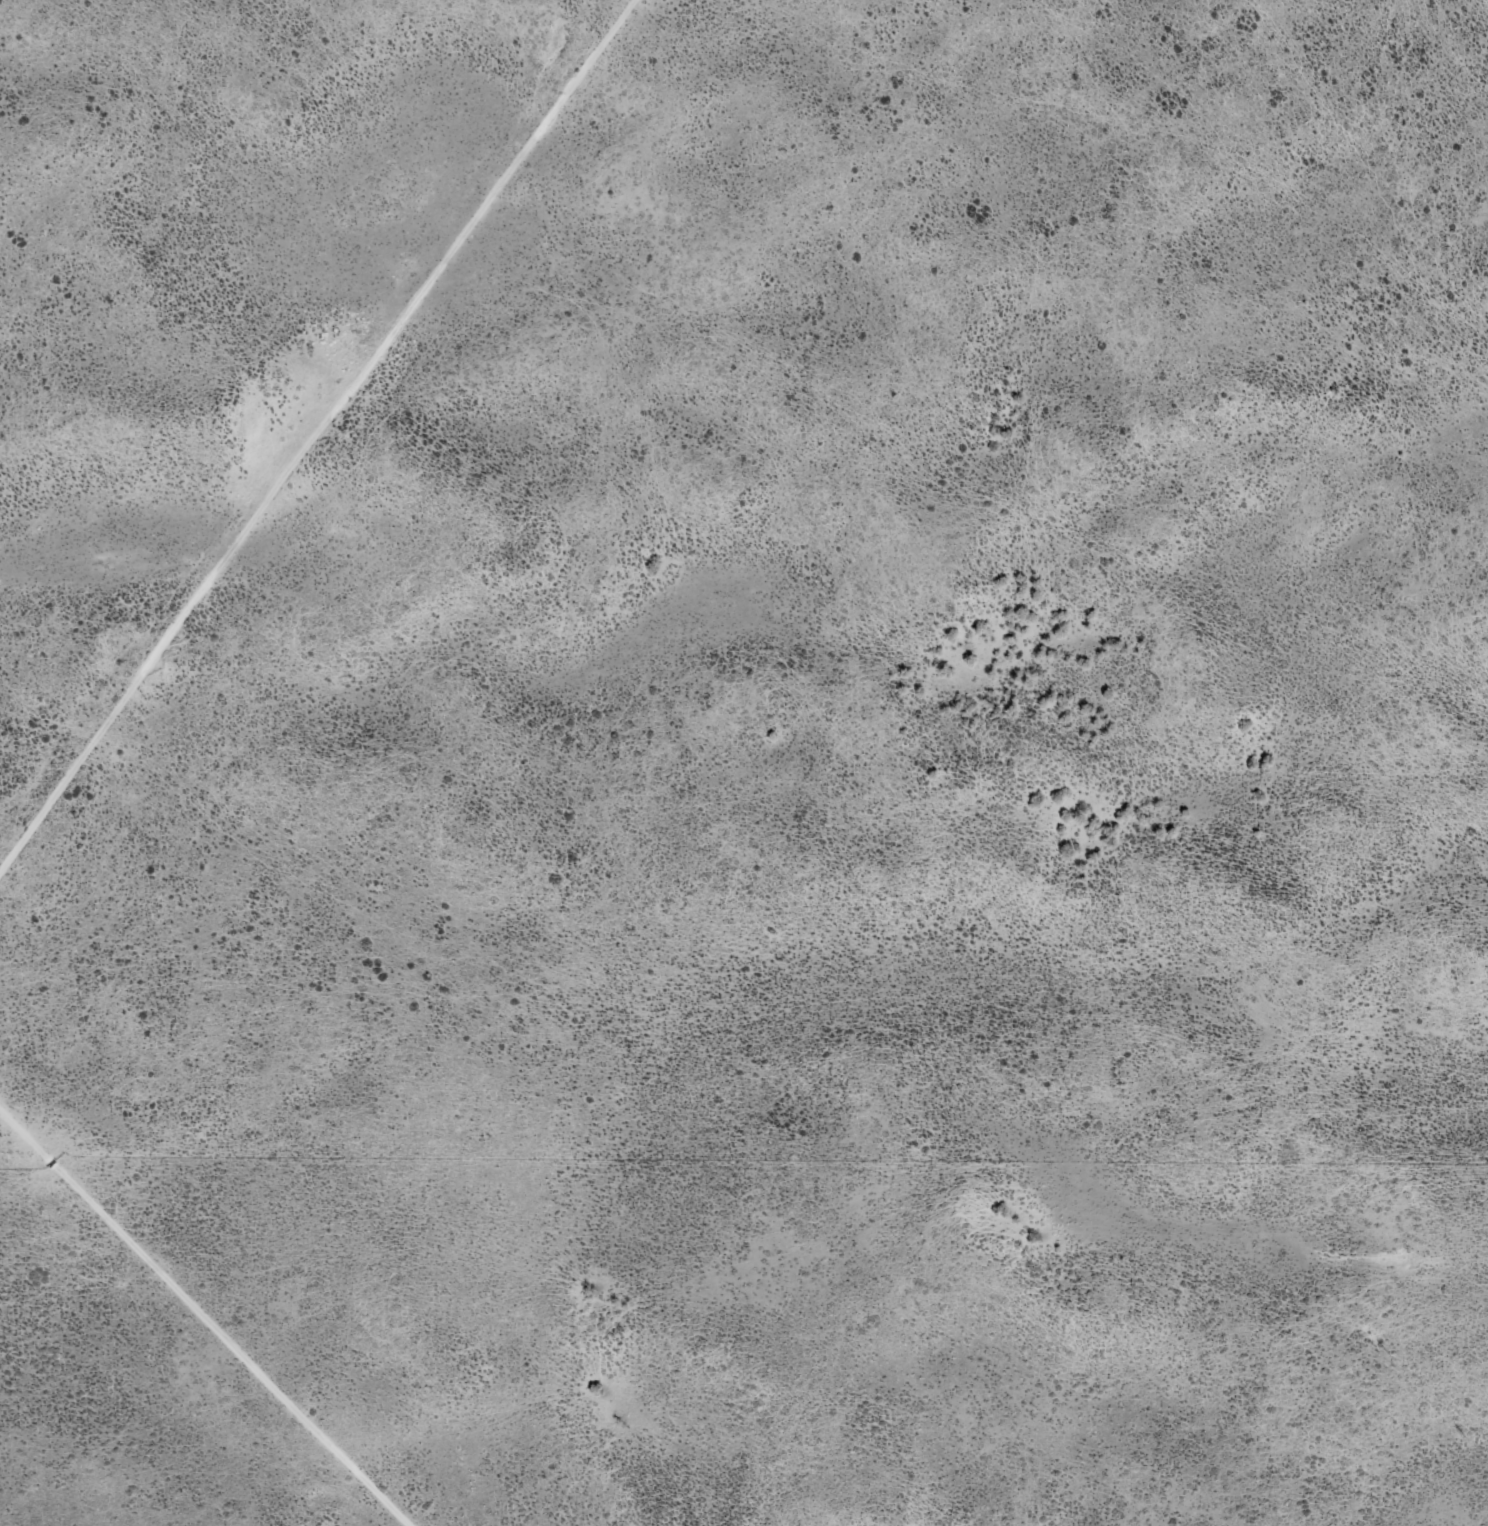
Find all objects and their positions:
road: (335, 449)
road: (223, 1297)

